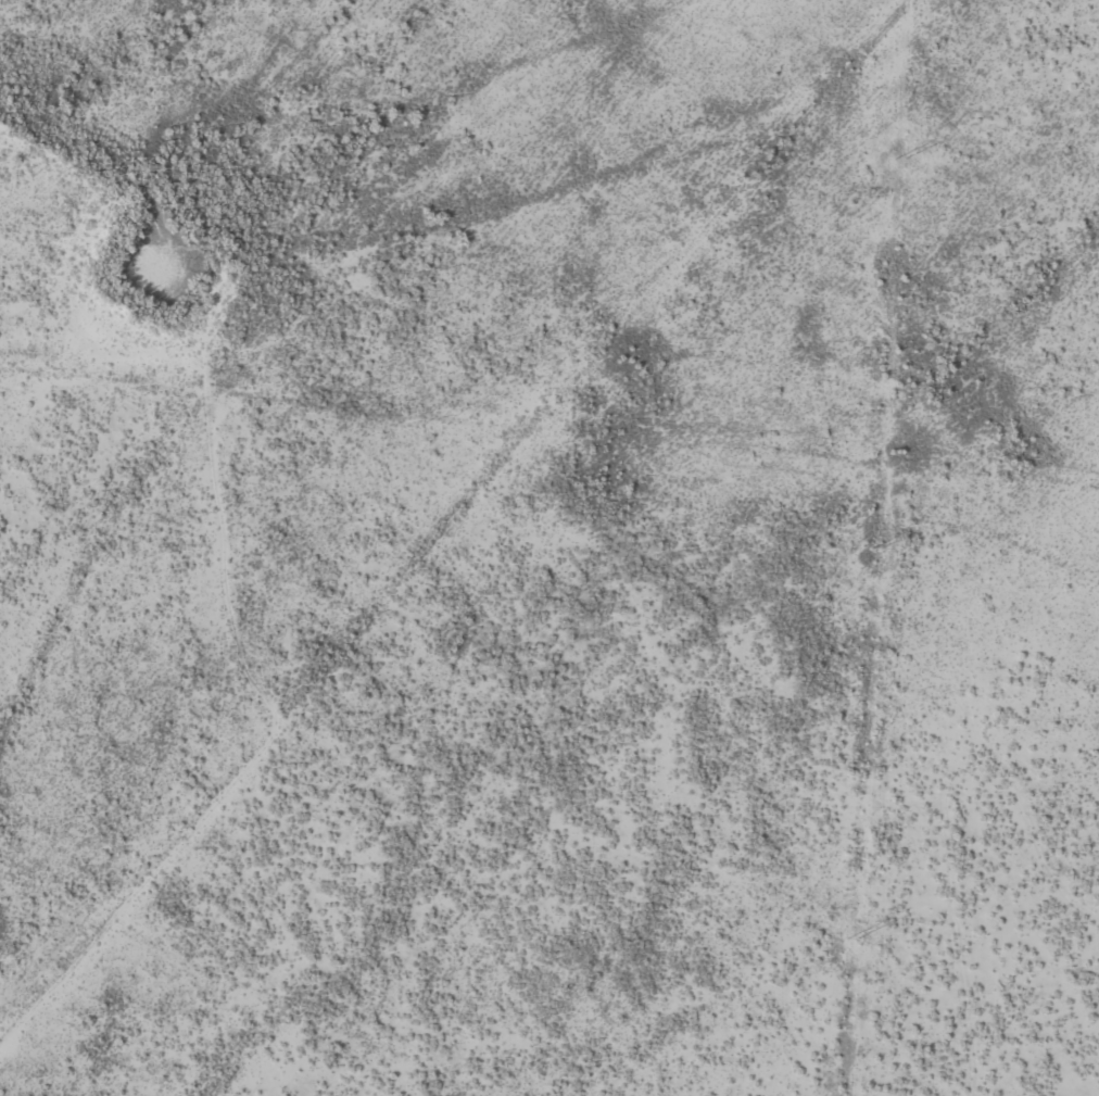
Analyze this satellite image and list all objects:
power tower: (899, 160)
power tower: (875, 551)
road: (27, 689)
power tower: (852, 940)

